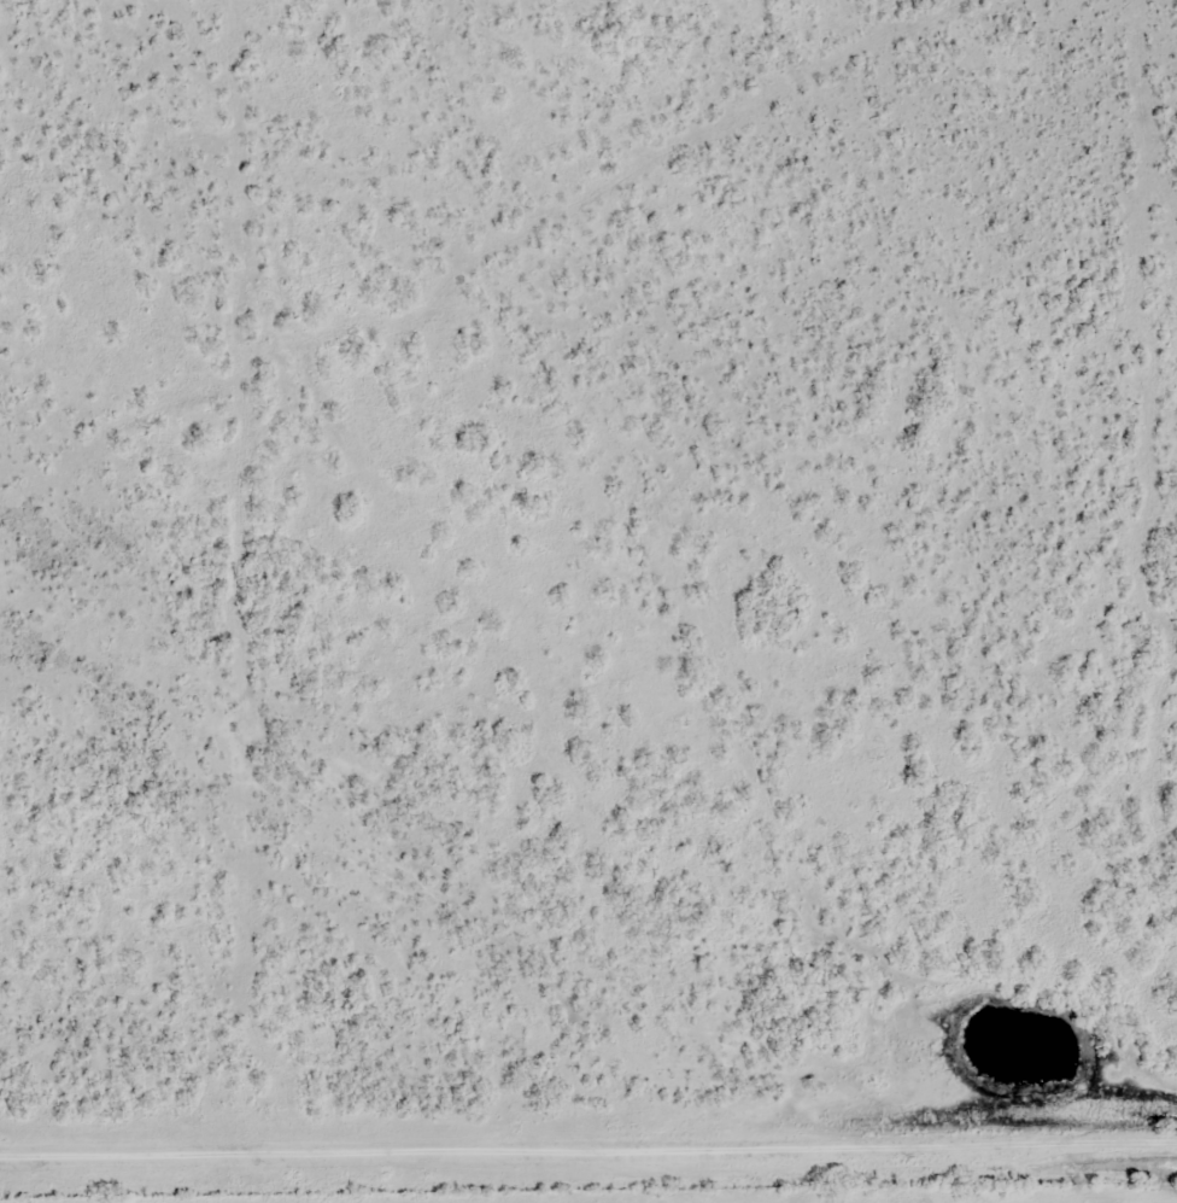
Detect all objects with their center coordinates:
road: (588, 1116)
road: (732, 1191)

